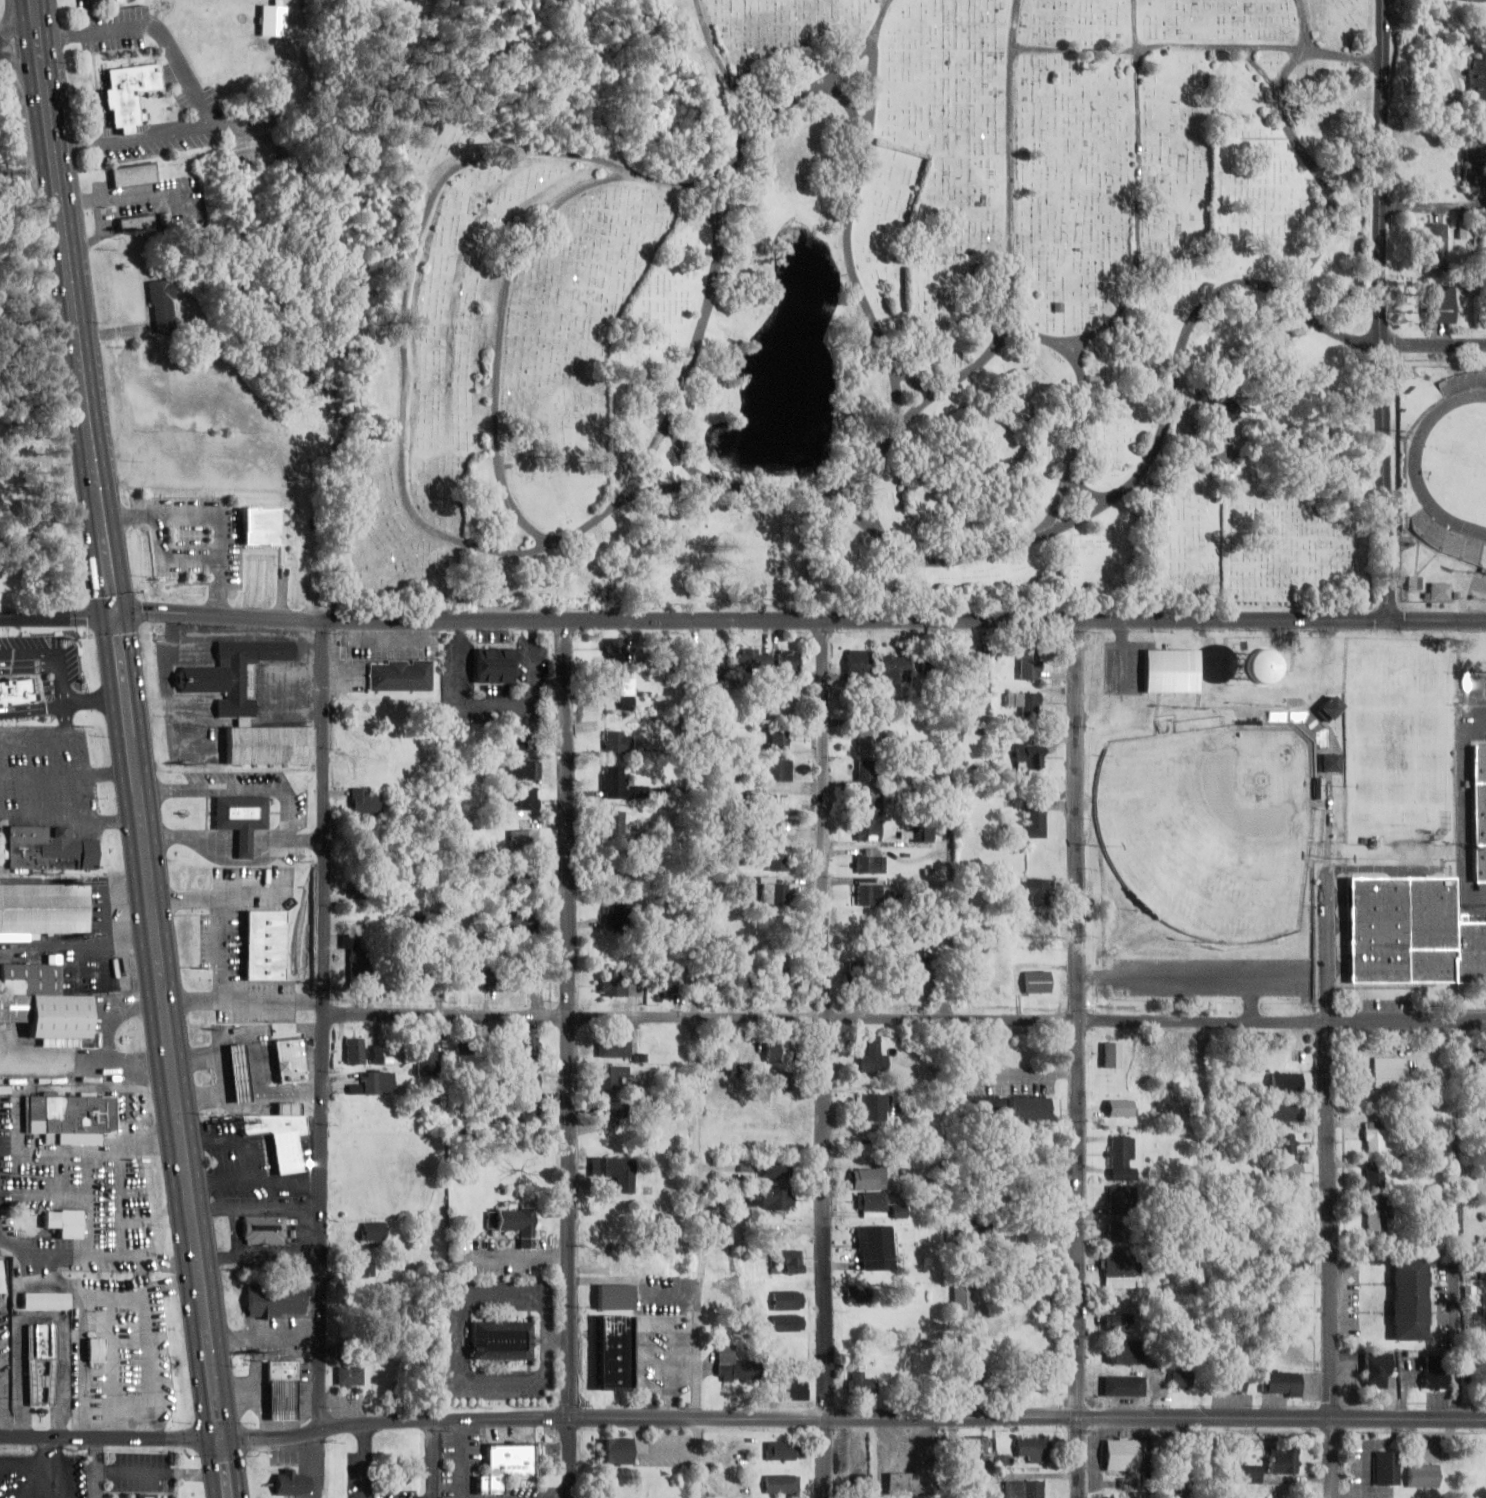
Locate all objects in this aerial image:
building: (111, 0)
road: (888, 1)
road: (18, 29)
road: (1198, 49)
road: (716, 58)
road: (1260, 68)
building: (286, 70)
building: (1477, 81)
building: (131, 90)
road: (812, 90)
road: (851, 112)
road: (1303, 150)
building: (1474, 167)
building: (137, 172)
road: (703, 182)
road: (1140, 198)
road: (855, 204)
road: (726, 206)
building: (140, 220)
building: (1439, 247)
road: (1013, 260)
building: (165, 301)
building: (1442, 303)
road: (1385, 310)
park: (875, 317)
road: (500, 334)
road: (1436, 347)
road: (1082, 353)
road: (915, 383)
road: (897, 404)
road: (923, 405)
building: (1232, 408)
building: (1226, 453)
road: (685, 459)
park: (1469, 465)
park: (1448, 477)
road: (1089, 493)
road: (1060, 505)
road: (211, 515)
road: (418, 521)
building: (264, 524)
road: (1059, 529)
parking lot: (199, 534)
road: (173, 552)
building: (1440, 590)
traffic signals: (117, 611)
road: (58, 614)
road: (801, 616)
building: (617, 649)
road: (1123, 656)
building: (756, 660)
building: (974, 661)
building: (787, 663)
water tower: (1247, 663)
building: (717, 664)
building: (859, 664)
building: (497, 665)
building: (930, 665)
building: (1031, 665)
building: (1245, 665)
building: (897, 667)
parking lot: (1125, 667)
building: (237, 670)
building: (1173, 670)
building: (403, 675)
building: (624, 686)
building: (17, 688)
road: (1477, 701)
building: (1032, 705)
building: (1333, 707)
building: (870, 735)
building: (779, 738)
building: (528, 740)
building: (620, 741)
park: (1404, 741)
building: (268, 742)
road: (132, 748)
building: (1030, 756)
building: (1334, 762)
building: (527, 769)
building: (780, 769)
building: (868, 770)
building: (616, 781)
building: (528, 797)
building: (872, 800)
building: (368, 802)
building: (763, 804)
building: (1479, 809)
building: (243, 815)
road: (952, 817)
building: (1036, 819)
building: (615, 825)
building: (870, 830)
building: (774, 832)
building: (922, 834)
building: (525, 839)
park: (1204, 843)
building: (371, 847)
building: (50, 848)
building: (872, 860)
building: (778, 861)
building: (616, 868)
building: (528, 878)
building: (361, 888)
building: (1036, 891)
building: (775, 892)
building: (870, 892)
building: (45, 905)
building: (617, 913)
building: (430, 918)
building: (519, 927)
building: (1409, 928)
building: (270, 942)
building: (360, 964)
building: (919, 969)
building: (529, 973)
building: (427, 974)
building: (34, 975)
building: (472, 977)
building: (1037, 981)
building: (718, 984)
building: (780, 984)
building: (666, 985)
building: (620, 986)
building: (54, 1015)
road: (905, 1019)
road: (323, 1022)
building: (530, 1048)
building: (615, 1048)
building: (778, 1050)
building: (363, 1051)
building: (464, 1053)
building: (1112, 1054)
building: (428, 1055)
building: (1301, 1055)
building: (873, 1056)
road: (573, 1057)
road: (824, 1057)
road: (1078, 1057)
building: (295, 1058)
building: (242, 1071)
building: (1390, 1071)
building: (112, 1075)
building: (611, 1075)
building: (529, 1078)
building: (777, 1081)
building: (375, 1082)
building: (1286, 1082)
building: (292, 1106)
building: (875, 1106)
building: (982, 1106)
building: (1122, 1107)
building: (527, 1108)
building: (1027, 1108)
building: (1284, 1111)
building: (611, 1112)
building: (72, 1115)
building: (284, 1135)
building: (1374, 1137)
building: (1038, 1141)
building: (1282, 1143)
building: (1122, 1158)
building: (781, 1169)
building: (616, 1172)
building: (1286, 1172)
building: (868, 1178)
road: (1330, 1178)
building: (1376, 1178)
building: (771, 1198)
building: (1121, 1198)
building: (873, 1200)
building: (1376, 1215)
building: (68, 1220)
road: (1463, 1221)
building: (519, 1223)
building: (266, 1226)
building: (1118, 1232)
building: (724, 1235)
building: (877, 1247)
road: (698, 1257)
building: (616, 1259)
road: (1202, 1259)
building: (788, 1261)
building: (1120, 1264)
building: (1284, 1264)
building: (365, 1268)
building: (3, 1273)
building: (859, 1293)
building: (277, 1296)
building: (616, 1296)
building: (959, 1296)
building: (48, 1297)
building: (1410, 1297)
building: (1471, 1297)
building: (789, 1299)
building: (1122, 1322)
building: (787, 1323)
building: (44, 1337)
building: (502, 1339)
building: (99, 1346)
building: (614, 1352)
building: (1126, 1352)
building: (54, 1364)
building: (734, 1365)
building: (285, 1367)
building: (1377, 1369)
building: (1434, 1373)
building: (351, 1375)
building: (1182, 1378)
building: (976, 1382)
building: (1236, 1383)
building: (1283, 1383)
building: (859, 1384)
building: (1124, 1385)
building: (794, 1391)
building: (285, 1397)
road: (1029, 1418)
road: (286, 1432)
traffic signals: (222, 1435)
building: (1033, 1449)
building: (617, 1450)
building: (780, 1450)
building: (977, 1451)
building: (1126, 1455)
building: (1282, 1460)
road: (40, 1462)
road: (1, 1464)
building: (508, 1466)
building: (1386, 1467)
building: (1247, 1473)
building: (1423, 1475)
parking lot: (30, 1478)
building: (864, 1478)
road: (31, 1480)
road: (55, 1480)
building: (293, 1480)
building: (913, 1481)
building: (780, 1484)
building: (1023, 1489)
building: (146, 1495)

